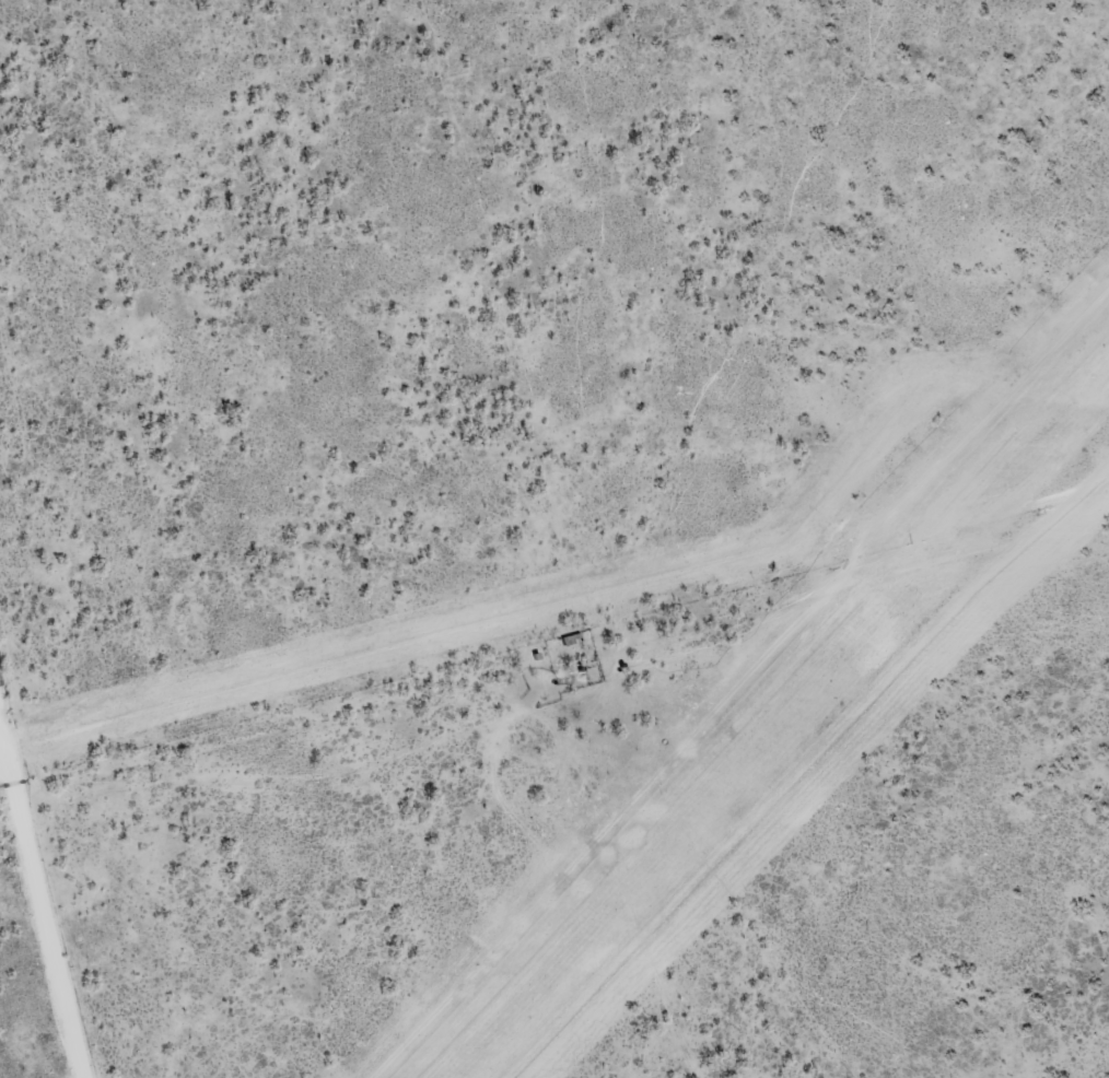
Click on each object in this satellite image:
road: (42, 894)

